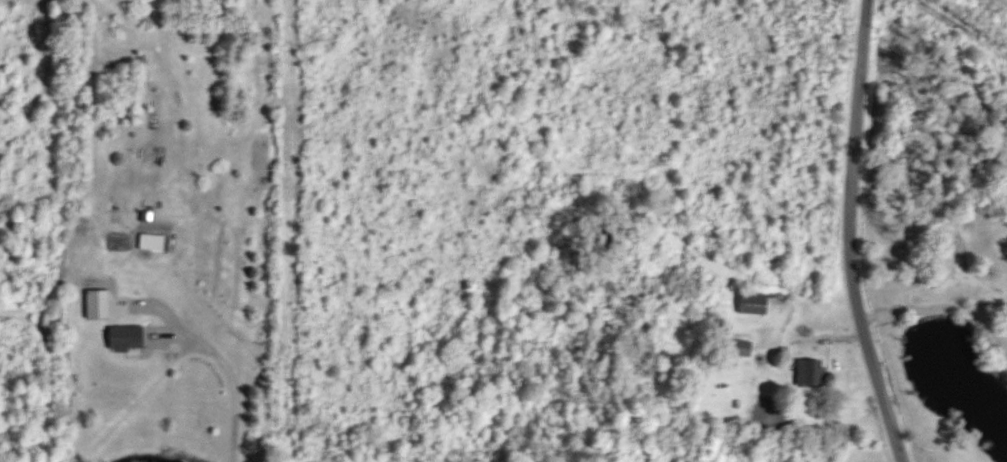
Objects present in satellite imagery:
road: (848, 234)
building: (156, 241)
building: (756, 302)
road: (942, 304)
building: (132, 337)
building: (745, 347)
building: (808, 371)
road: (224, 373)

